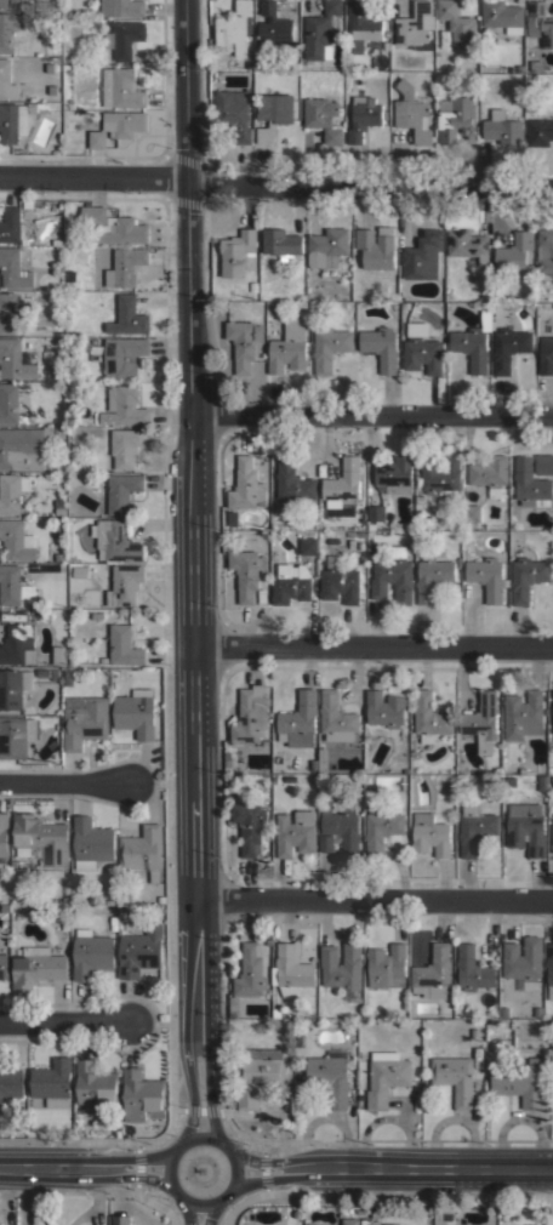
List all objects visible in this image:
building: (10, 4)
building: (122, 7)
building: (503, 15)
building: (540, 21)
building: (456, 23)
building: (235, 27)
building: (273, 27)
building: (415, 27)
building: (364, 28)
building: (8, 29)
building: (321, 33)
building: (124, 36)
building: (49, 67)
building: (6, 80)
building: (52, 89)
building: (121, 89)
building: (41, 104)
building: (32, 108)
building: (411, 112)
building: (233, 113)
building: (273, 114)
building: (363, 116)
building: (323, 118)
building: (454, 118)
building: (12, 121)
building: (124, 122)
building: (502, 127)
building: (538, 131)
building: (97, 138)
road: (275, 184)
building: (29, 200)
building: (93, 215)
building: (12, 224)
building: (122, 230)
building: (281, 243)
building: (468, 244)
building: (376, 246)
building: (327, 247)
building: (545, 250)
building: (236, 251)
building: (514, 253)
building: (423, 255)
building: (59, 266)
building: (126, 266)
building: (13, 268)
building: (8, 312)
building: (127, 317)
building: (244, 342)
building: (289, 347)
building: (330, 347)
building: (380, 347)
building: (472, 347)
building: (508, 347)
building: (421, 349)
building: (119, 355)
building: (546, 355)
building: (15, 359)
building: (57, 375)
building: (8, 403)
building: (124, 406)
road: (374, 415)
building: (23, 446)
building: (125, 446)
building: (543, 463)
building: (440, 473)
building: (490, 473)
building: (395, 474)
building: (342, 483)
building: (293, 484)
building: (531, 484)
building: (246, 485)
building: (12, 490)
building: (120, 492)
building: (59, 511)
building: (376, 513)
building: (472, 513)
building: (15, 540)
building: (114, 541)
building: (308, 546)
building: (58, 555)
road: (195, 565)
building: (80, 570)
building: (246, 572)
building: (393, 575)
building: (432, 576)
building: (488, 576)
building: (526, 577)
building: (340, 581)
building: (291, 582)
building: (125, 585)
building: (12, 586)
building: (96, 615)
building: (17, 644)
building: (124, 645)
road: (374, 648)
building: (58, 654)
building: (42, 672)
building: (55, 672)
building: (68, 677)
building: (53, 678)
building: (13, 686)
building: (384, 708)
building: (552, 710)
building: (135, 712)
building: (336, 714)
building: (523, 714)
building: (250, 717)
building: (429, 717)
building: (84, 720)
building: (298, 720)
building: (483, 720)
building: (552, 725)
building: (16, 735)
road: (67, 782)
building: (250, 826)
building: (382, 826)
building: (474, 827)
building: (526, 827)
building: (340, 830)
building: (296, 831)
building: (431, 834)
building: (4, 836)
building: (40, 838)
building: (91, 843)
building: (552, 843)
building: (552, 845)
building: (142, 850)
building: (160, 899)
road: (374, 901)
building: (5, 907)
building: (113, 922)
building: (139, 951)
building: (91, 952)
building: (523, 958)
building: (4, 965)
building: (36, 965)
building: (387, 965)
building: (342, 967)
building: (473, 968)
building: (292, 969)
building: (549, 969)
building: (433, 973)
building: (249, 974)
road: (64, 1021)
building: (257, 1073)
building: (330, 1075)
building: (455, 1077)
building: (386, 1078)
building: (520, 1081)
building: (52, 1082)
building: (10, 1083)
building: (95, 1083)
building: (141, 1094)
road: (235, 1156)
road: (395, 1166)
road: (82, 1168)
road: (199, 1214)
building: (120, 1220)
building: (350, 1221)
building: (364, 1221)
building: (0, 1224)
building: (393, 1224)
building: (509, 1224)

